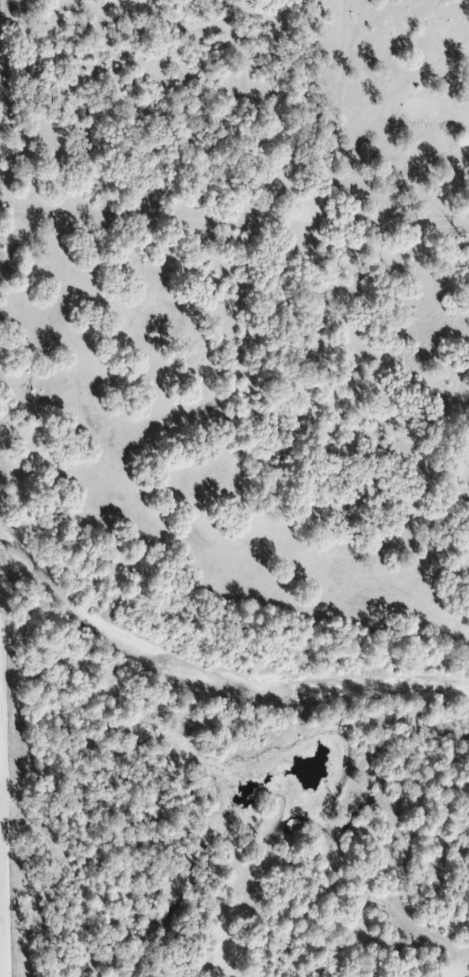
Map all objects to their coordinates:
road: (234, 222)

